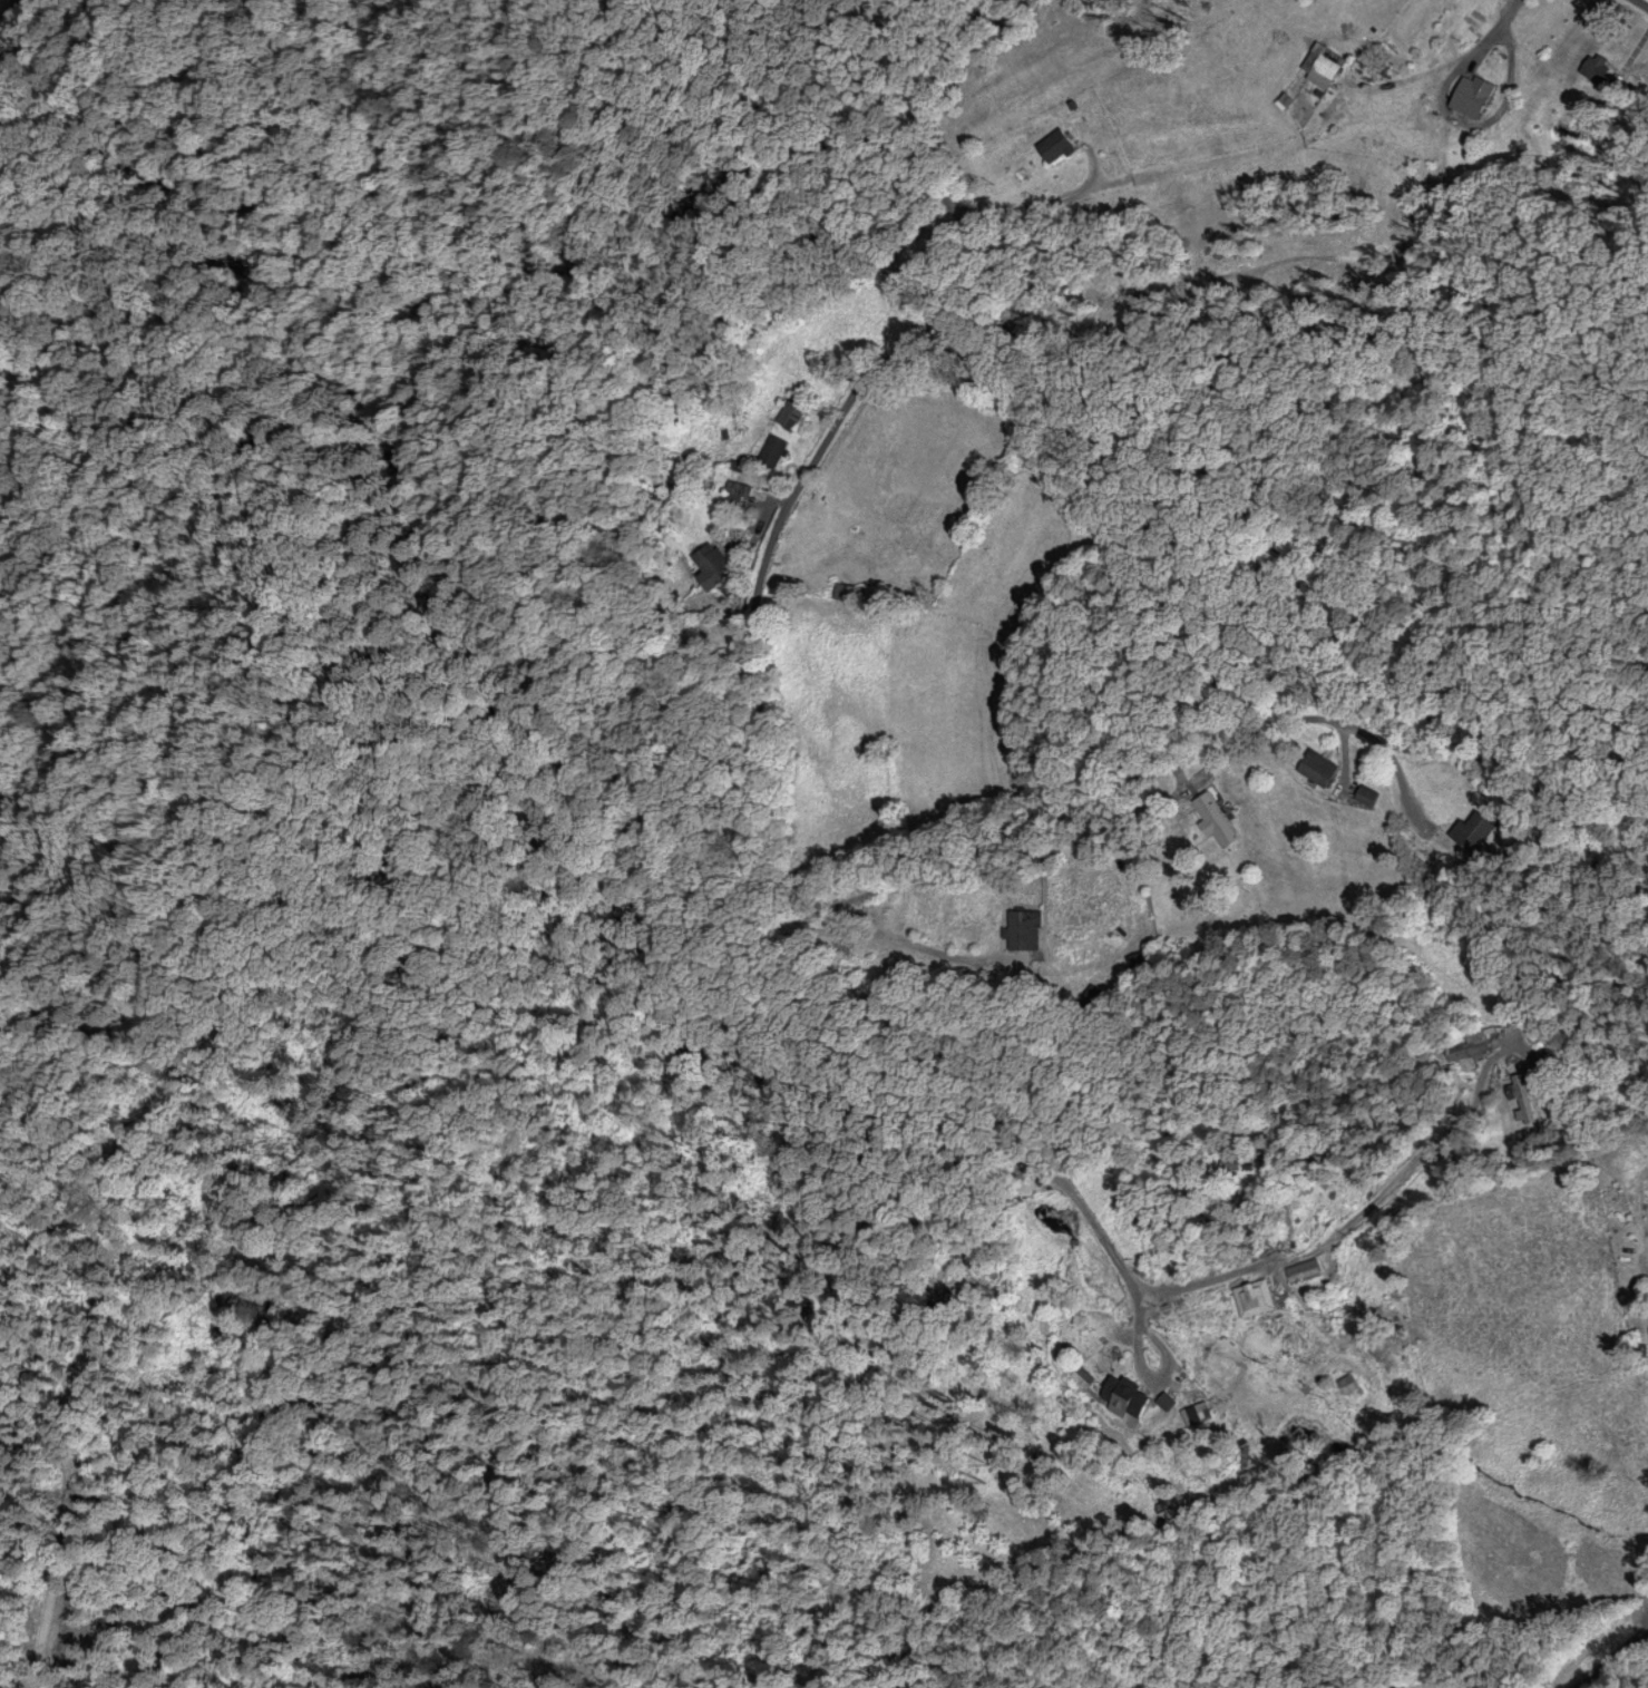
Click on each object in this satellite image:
road: (1645, 1)
railway: (9, 12)
road: (1505, 13)
railway: (14, 21)
road: (1632, 48)
building: (1333, 68)
building: (1474, 91)
road: (1463, 118)
building: (1059, 144)
building: (794, 410)
building: (773, 450)
building: (842, 591)
road: (753, 635)
road: (1340, 749)
road: (1392, 762)
road: (1057, 802)
building: (1218, 820)
building: (1471, 830)
road: (874, 913)
building: (1025, 928)
road: (889, 937)
building: (1140, 963)
building: (1523, 1109)
road: (1410, 1167)
building: (1303, 1269)
road: (1138, 1370)
building: (1191, 1414)
road: (1608, 1653)
road: (8, 1672)

